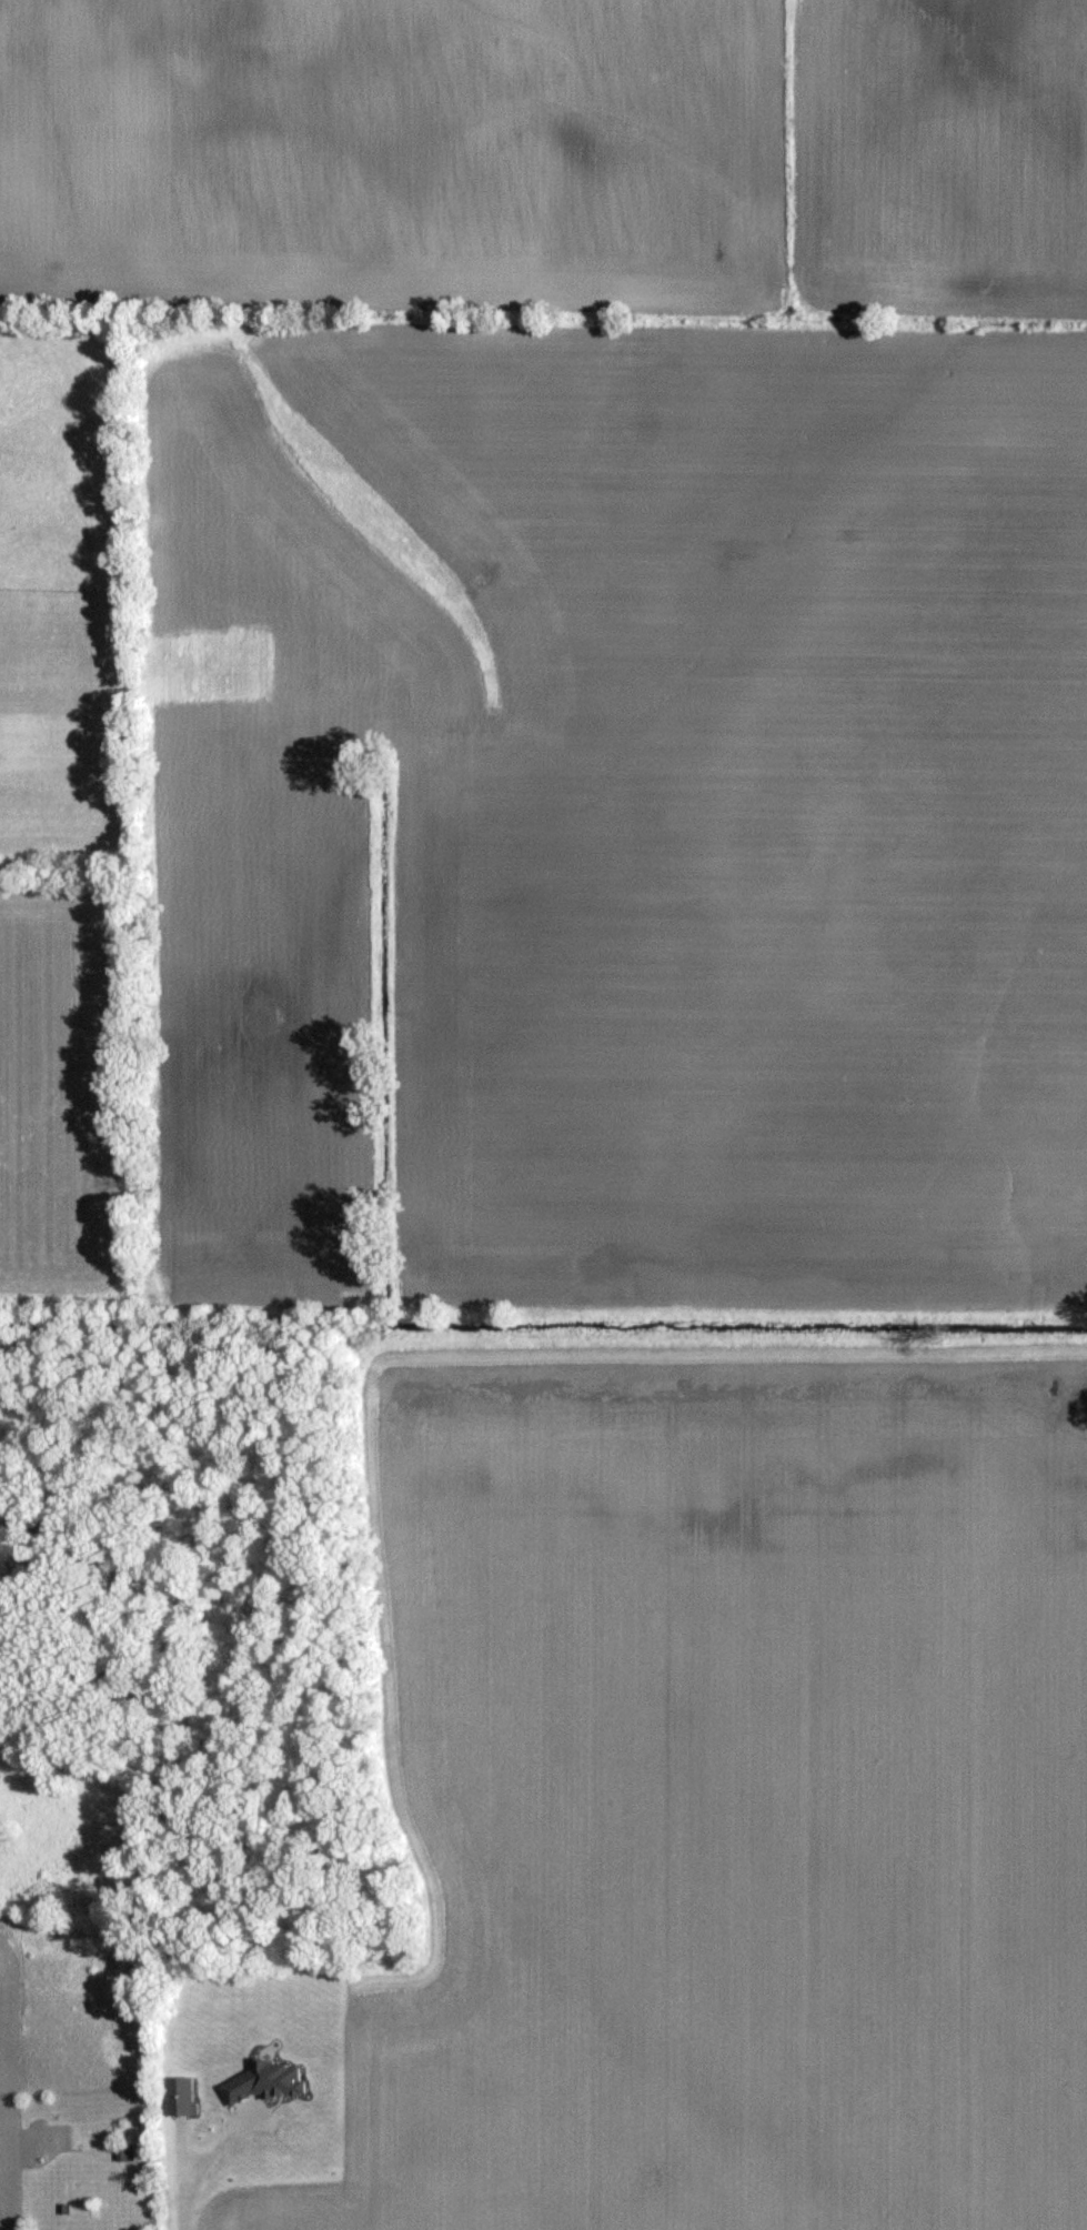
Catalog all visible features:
building: (123, 2151)

